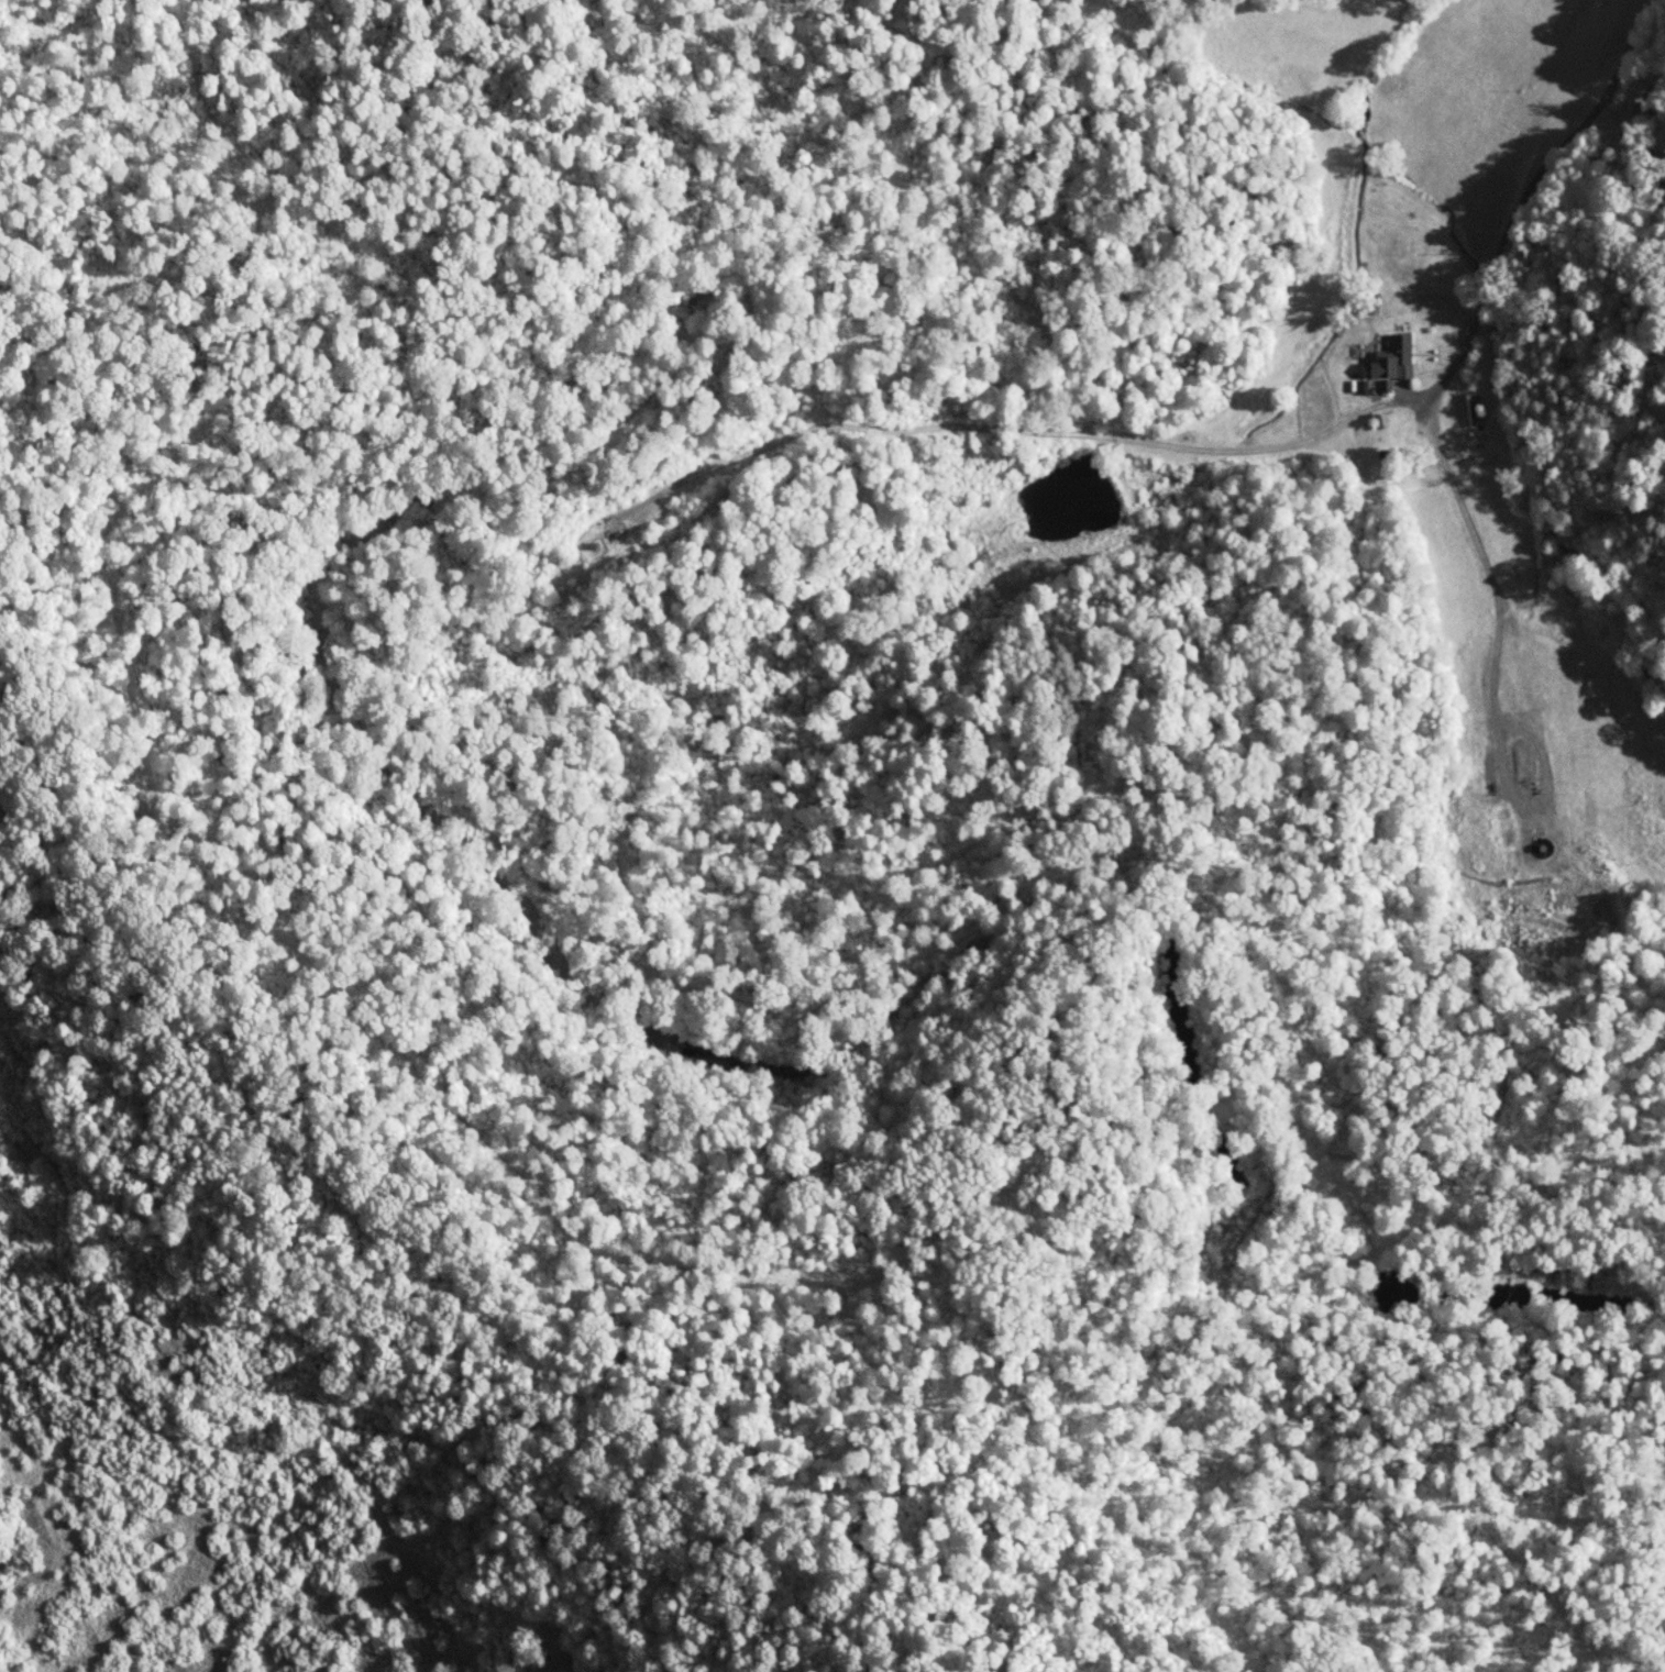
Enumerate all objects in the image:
road: (1499, 209)
building: (1389, 348)
building: (1469, 410)

